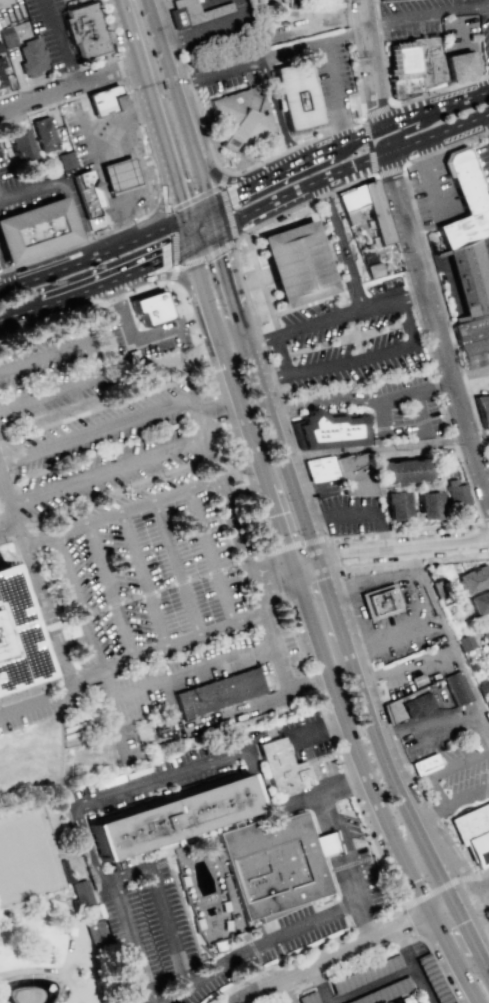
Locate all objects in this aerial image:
building: (382, 0)
parking lot: (221, 1)
road: (374, 1)
road: (347, 3)
parking lot: (11, 12)
road: (426, 12)
building: (195, 13)
parking lot: (421, 18)
parking lot: (224, 28)
parking lot: (485, 28)
building: (86, 31)
road: (216, 31)
parking lot: (54, 32)
parking lot: (50, 33)
building: (6, 37)
road: (60, 41)
road: (177, 41)
building: (0, 48)
building: (461, 48)
road: (269, 53)
road: (382, 54)
building: (31, 57)
road: (356, 61)
road: (370, 62)
building: (428, 62)
road: (85, 65)
road: (120, 68)
parking lot: (228, 68)
building: (402, 69)
building: (1, 73)
parking lot: (330, 76)
road: (68, 85)
road: (145, 88)
road: (337, 89)
road: (439, 91)
building: (297, 97)
road: (61, 100)
building: (106, 101)
road: (276, 111)
road: (376, 111)
road: (418, 112)
road: (185, 116)
building: (243, 119)
road: (486, 123)
road: (86, 124)
road: (414, 124)
road: (105, 125)
parking lot: (78, 130)
building: (43, 133)
road: (145, 141)
road: (109, 143)
building: (19, 144)
road: (369, 146)
road: (447, 147)
road: (313, 157)
building: (66, 159)
parking lot: (484, 160)
road: (134, 163)
road: (249, 166)
road: (351, 166)
road: (391, 170)
building: (118, 174)
road: (119, 174)
road: (221, 178)
road: (428, 178)
road: (105, 179)
road: (238, 179)
road: (61, 183)
road: (245, 190)
parking lot: (433, 192)
parking lot: (42, 197)
road: (178, 198)
building: (91, 201)
building: (464, 201)
road: (1, 202)
road: (126, 203)
road: (177, 207)
road: (163, 208)
traffic signals: (213, 208)
road: (167, 214)
building: (376, 214)
road: (117, 217)
traffic signals: (185, 219)
road: (175, 222)
road: (423, 222)
building: (36, 231)
road: (189, 232)
traffic signals: (219, 233)
road: (206, 239)
road: (80, 243)
traffic signals: (193, 245)
road: (341, 245)
road: (224, 247)
parking lot: (485, 251)
road: (329, 257)
road: (68, 263)
building: (295, 263)
parking lot: (1, 264)
building: (373, 269)
road: (4, 273)
road: (446, 273)
road: (164, 274)
road: (172, 275)
road: (107, 276)
road: (254, 277)
building: (467, 278)
road: (260, 284)
road: (234, 289)
road: (410, 292)
road: (306, 304)
road: (372, 304)
road: (10, 310)
building: (149, 310)
road: (444, 314)
road: (253, 317)
road: (405, 319)
road: (434, 327)
parking lot: (344, 328)
road: (299, 329)
building: (472, 329)
road: (194, 331)
parking lot: (140, 334)
road: (354, 335)
road: (343, 339)
road: (140, 342)
road: (425, 350)
building: (474, 352)
road: (280, 355)
road: (350, 360)
road: (90, 367)
parking lot: (55, 374)
road: (275, 377)
road: (433, 388)
road: (416, 395)
road: (342, 397)
road: (219, 406)
parking lot: (387, 406)
building: (483, 410)
road: (114, 425)
building: (327, 429)
road: (387, 446)
building: (320, 467)
road: (106, 470)
building: (402, 472)
building: (353, 473)
parking lot: (324, 487)
road: (310, 491)
building: (457, 495)
building: (397, 505)
building: (430, 505)
road: (228, 509)
parking lot: (351, 513)
road: (352, 514)
road: (8, 528)
road: (484, 528)
road: (404, 531)
road: (70, 532)
road: (386, 541)
road: (39, 543)
road: (297, 543)
road: (447, 543)
road: (362, 552)
road: (333, 553)
parking lot: (141, 554)
road: (260, 554)
road: (209, 556)
road: (244, 559)
road: (407, 560)
road: (228, 565)
road: (176, 568)
road: (213, 570)
road: (287, 570)
road: (275, 574)
road: (196, 575)
road: (395, 577)
road: (141, 580)
building: (473, 580)
road: (179, 581)
road: (163, 587)
road: (109, 591)
road: (147, 593)
road: (131, 598)
building: (380, 601)
road: (114, 604)
building: (480, 604)
road: (97, 610)
road: (80, 617)
road: (315, 622)
road: (66, 623)
road: (51, 629)
road: (39, 633)
building: (485, 633)
parking lot: (397, 637)
road: (449, 637)
road: (392, 638)
building: (464, 642)
building: (12, 645)
road: (355, 663)
road: (408, 664)
road: (367, 665)
road: (177, 675)
road: (80, 677)
building: (266, 678)
building: (482, 685)
building: (456, 688)
road: (290, 693)
building: (217, 694)
road: (38, 700)
building: (414, 702)
building: (487, 704)
road: (431, 718)
road: (324, 726)
parking lot: (303, 736)
road: (337, 754)
building: (426, 765)
building: (280, 767)
road: (443, 770)
road: (174, 772)
parking lot: (459, 775)
parking lot: (157, 779)
road: (343, 786)
road: (453, 804)
building: (172, 818)
road: (324, 822)
building: (473, 831)
road: (326, 843)
park: (24, 858)
road: (338, 860)
road: (450, 860)
parking lot: (365, 862)
building: (275, 863)
road: (346, 866)
building: (64, 870)
road: (487, 887)
road: (476, 890)
building: (80, 893)
road: (423, 897)
road: (481, 908)
road: (166, 909)
park: (52, 910)
road: (479, 921)
parking lot: (149, 924)
building: (94, 931)
road: (73, 937)
road: (481, 937)
road: (135, 943)
parking lot: (275, 943)
road: (263, 945)
road: (349, 950)
road: (301, 952)
road: (437, 965)
road: (412, 966)
road: (46, 970)
road: (341, 970)
road: (90, 973)
building: (366, 973)
building: (432, 978)
road: (321, 984)
road: (371, 984)
building: (384, 991)
building: (27, 995)
road: (473, 995)
road: (92, 997)
building: (308, 997)
road: (457, 1001)

